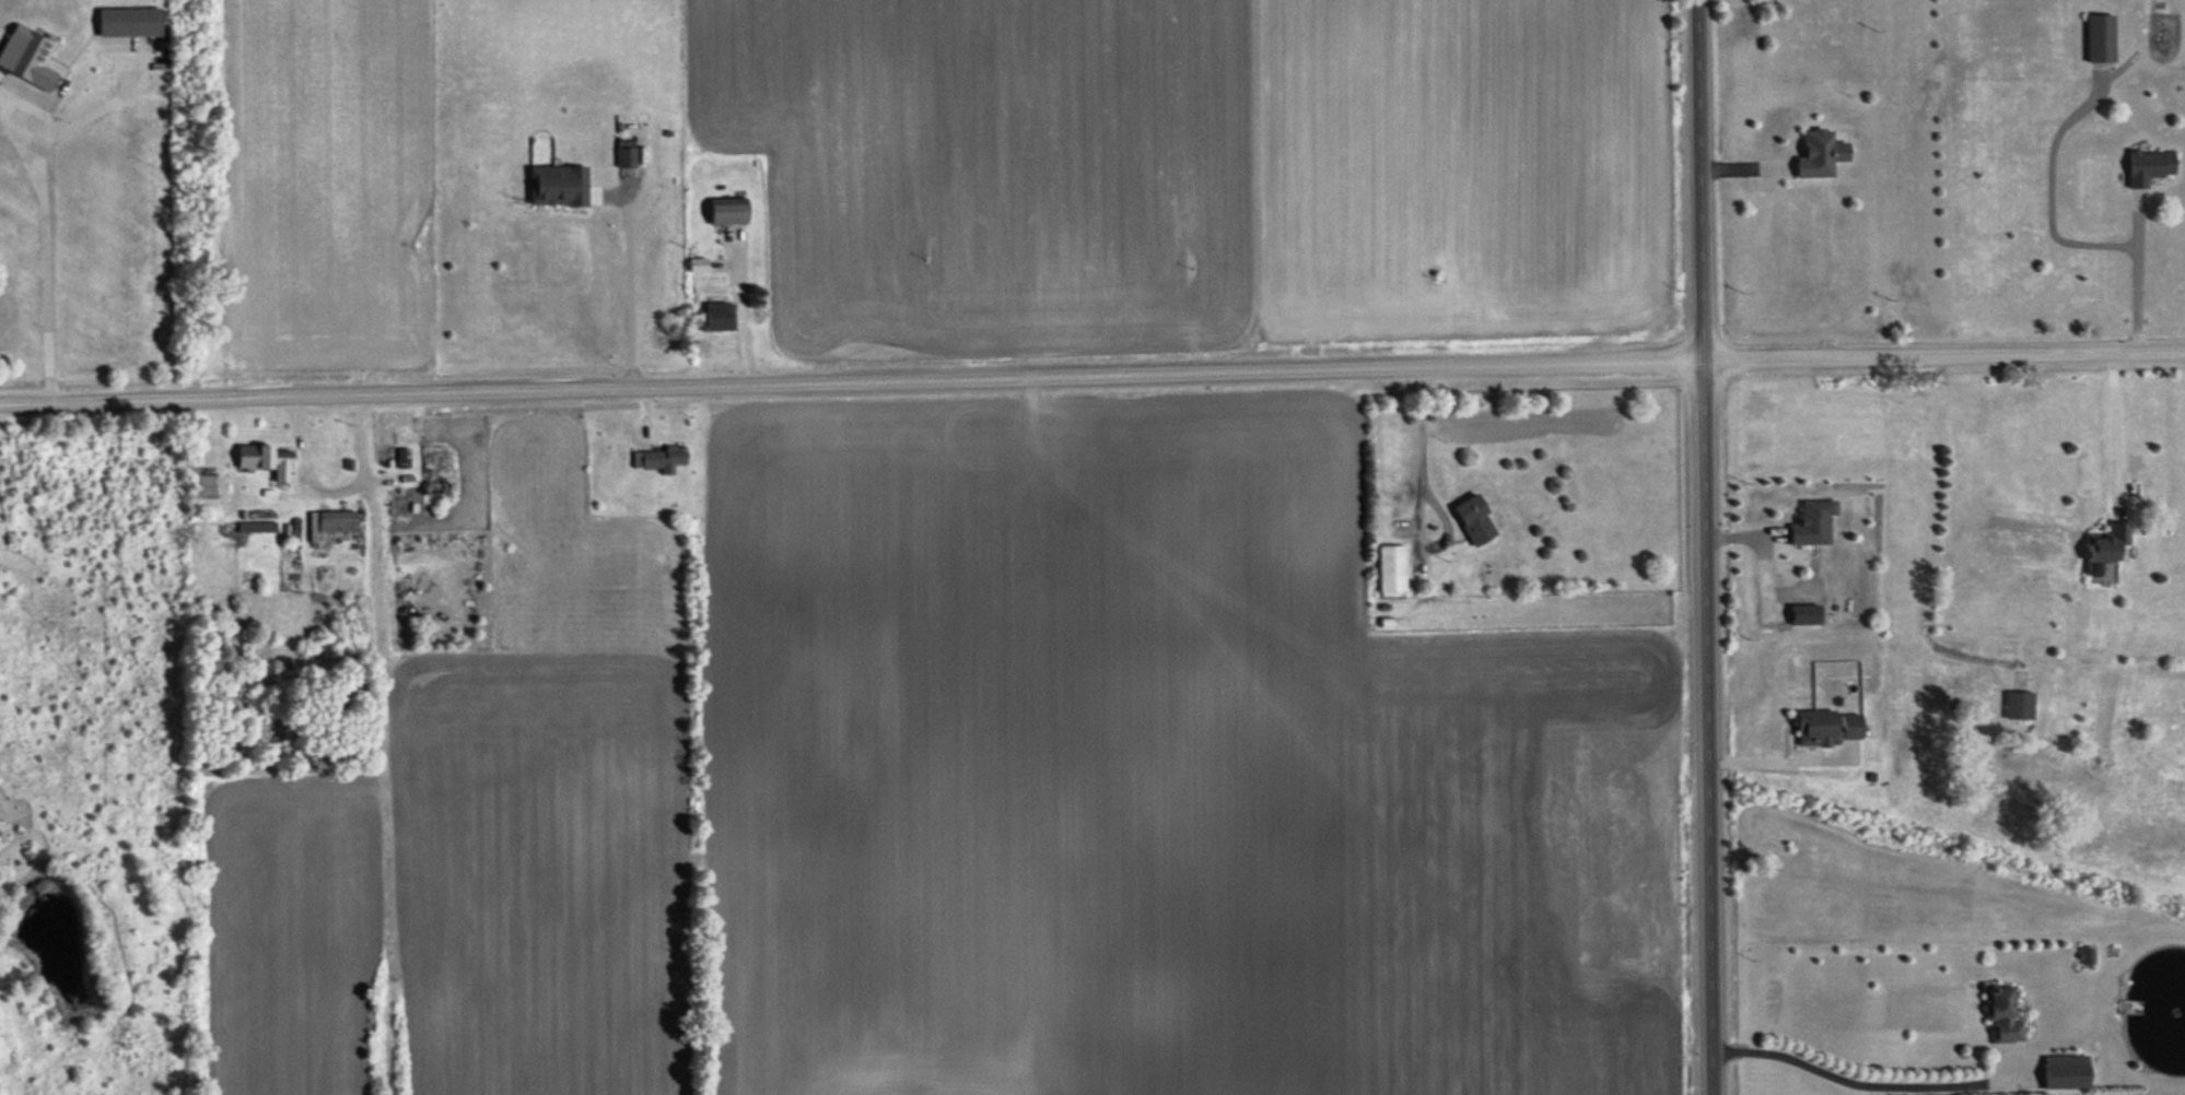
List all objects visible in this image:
building: (129, 22)
building: (2100, 38)
building: (27, 56)
building: (626, 153)
building: (1819, 154)
building: (2147, 166)
road: (1704, 178)
building: (557, 186)
road: (2049, 187)
building: (727, 210)
road: (42, 246)
building: (697, 264)
road: (2136, 269)
road: (639, 286)
building: (718, 316)
road: (1092, 372)
road: (2114, 426)
road: (1419, 443)
building: (659, 459)
building: (267, 460)
road: (334, 492)
building: (336, 520)
building: (1473, 520)
building: (1811, 522)
building: (256, 527)
building: (2104, 546)
building: (1390, 568)
building: (2019, 705)
road: (1711, 725)
building: (1824, 727)
road: (1783, 761)
building: (2087, 955)
building: (2001, 1014)
building: (2065, 1072)
road: (1869, 1085)

